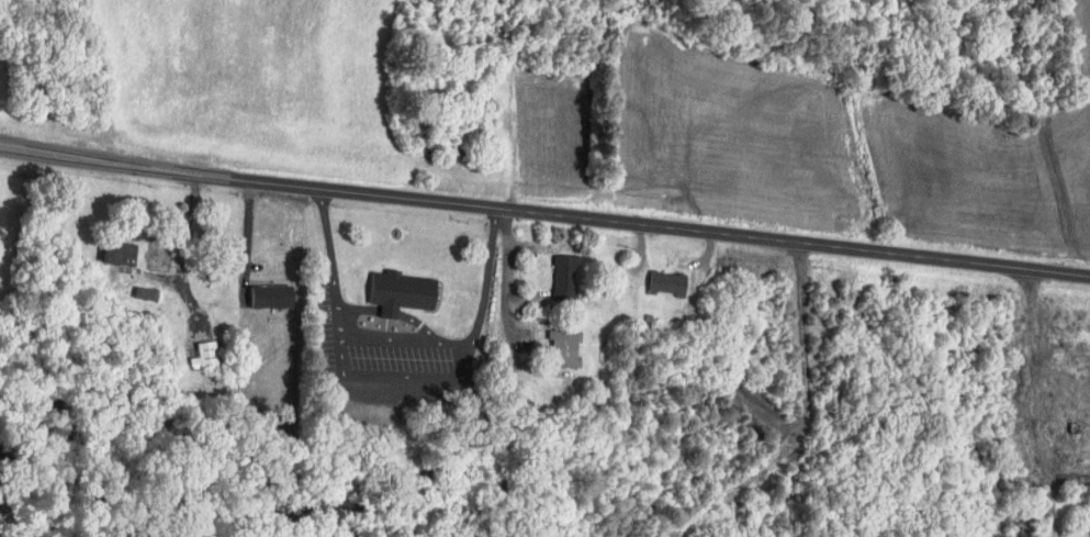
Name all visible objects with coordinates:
road: (544, 212)
road: (338, 228)
building: (111, 253)
building: (560, 267)
road: (501, 277)
building: (661, 282)
building: (406, 291)
building: (141, 293)
road: (366, 307)
road: (395, 310)
road: (429, 322)
building: (557, 348)
building: (199, 355)
road: (449, 378)

